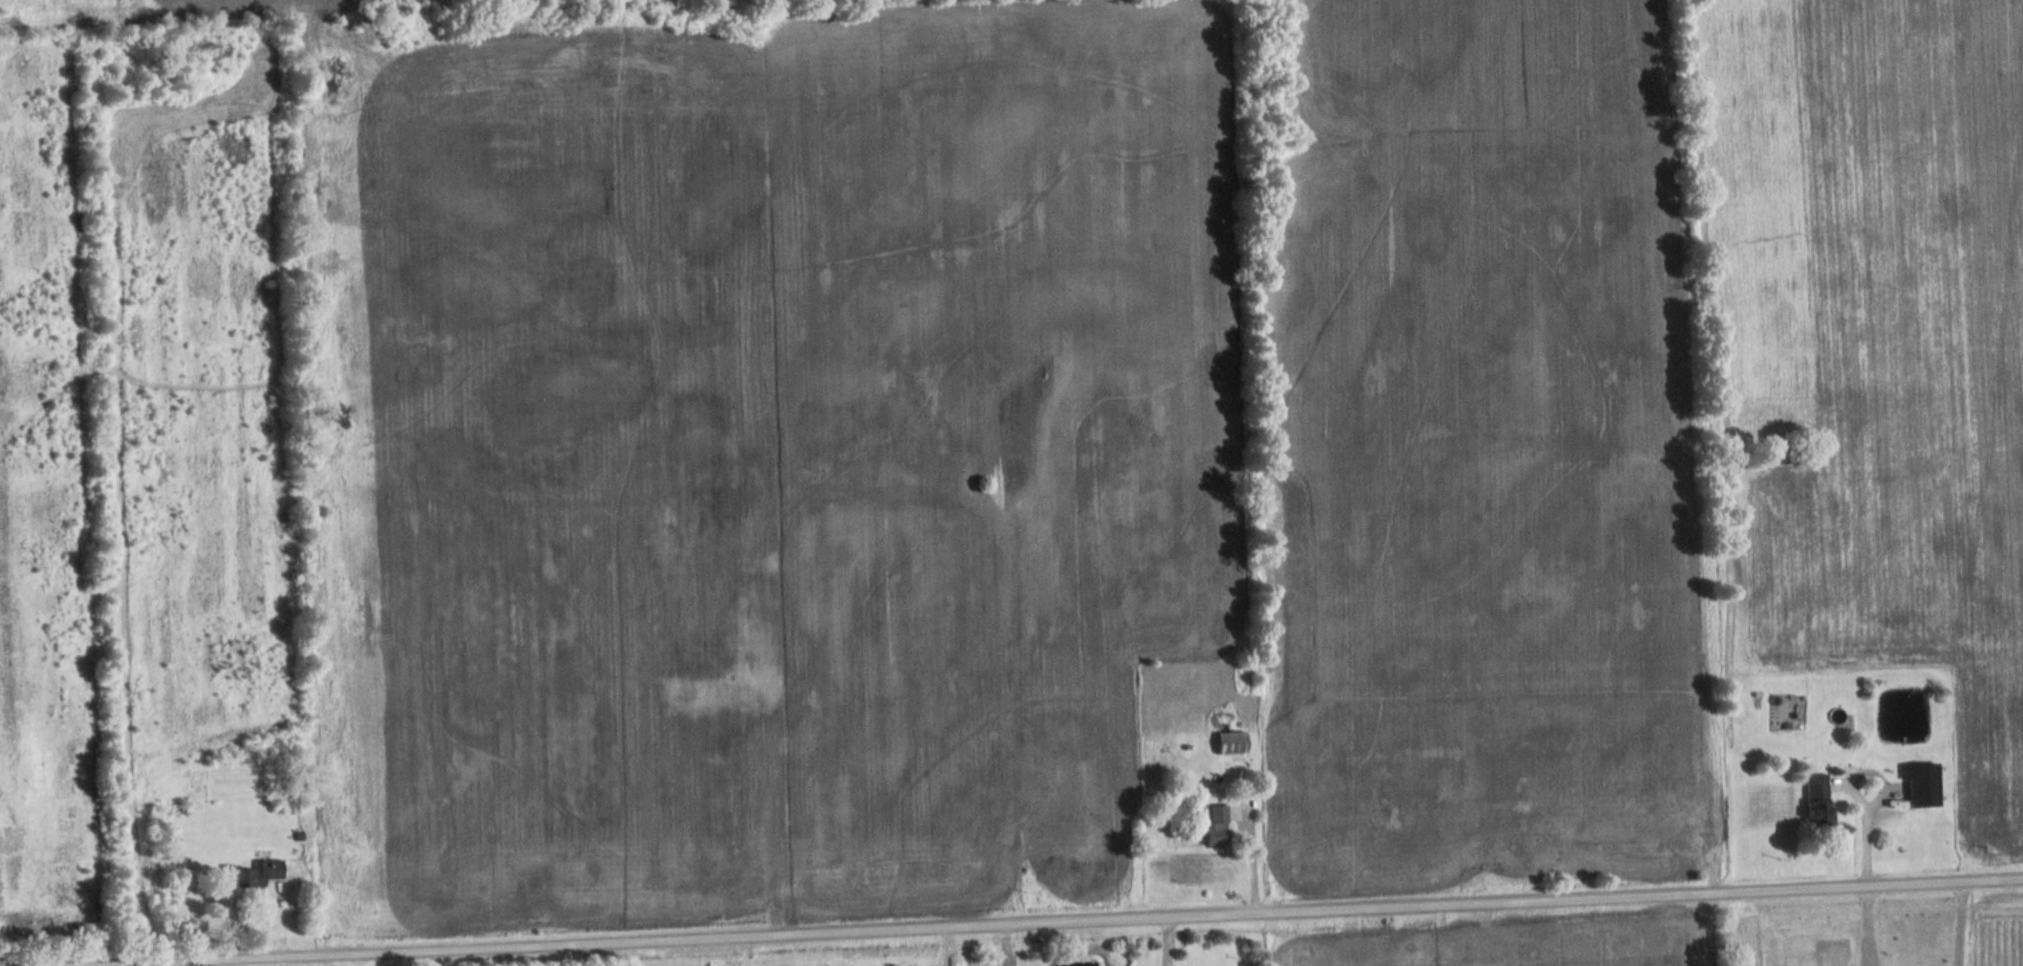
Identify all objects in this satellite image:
building: (1227, 744)
building: (1918, 787)
building: (1813, 804)
road: (1871, 805)
building: (290, 807)
building: (1212, 828)
building: (256, 873)
road: (1086, 923)
road: (1933, 925)
road: (1165, 942)
road: (1007, 946)

